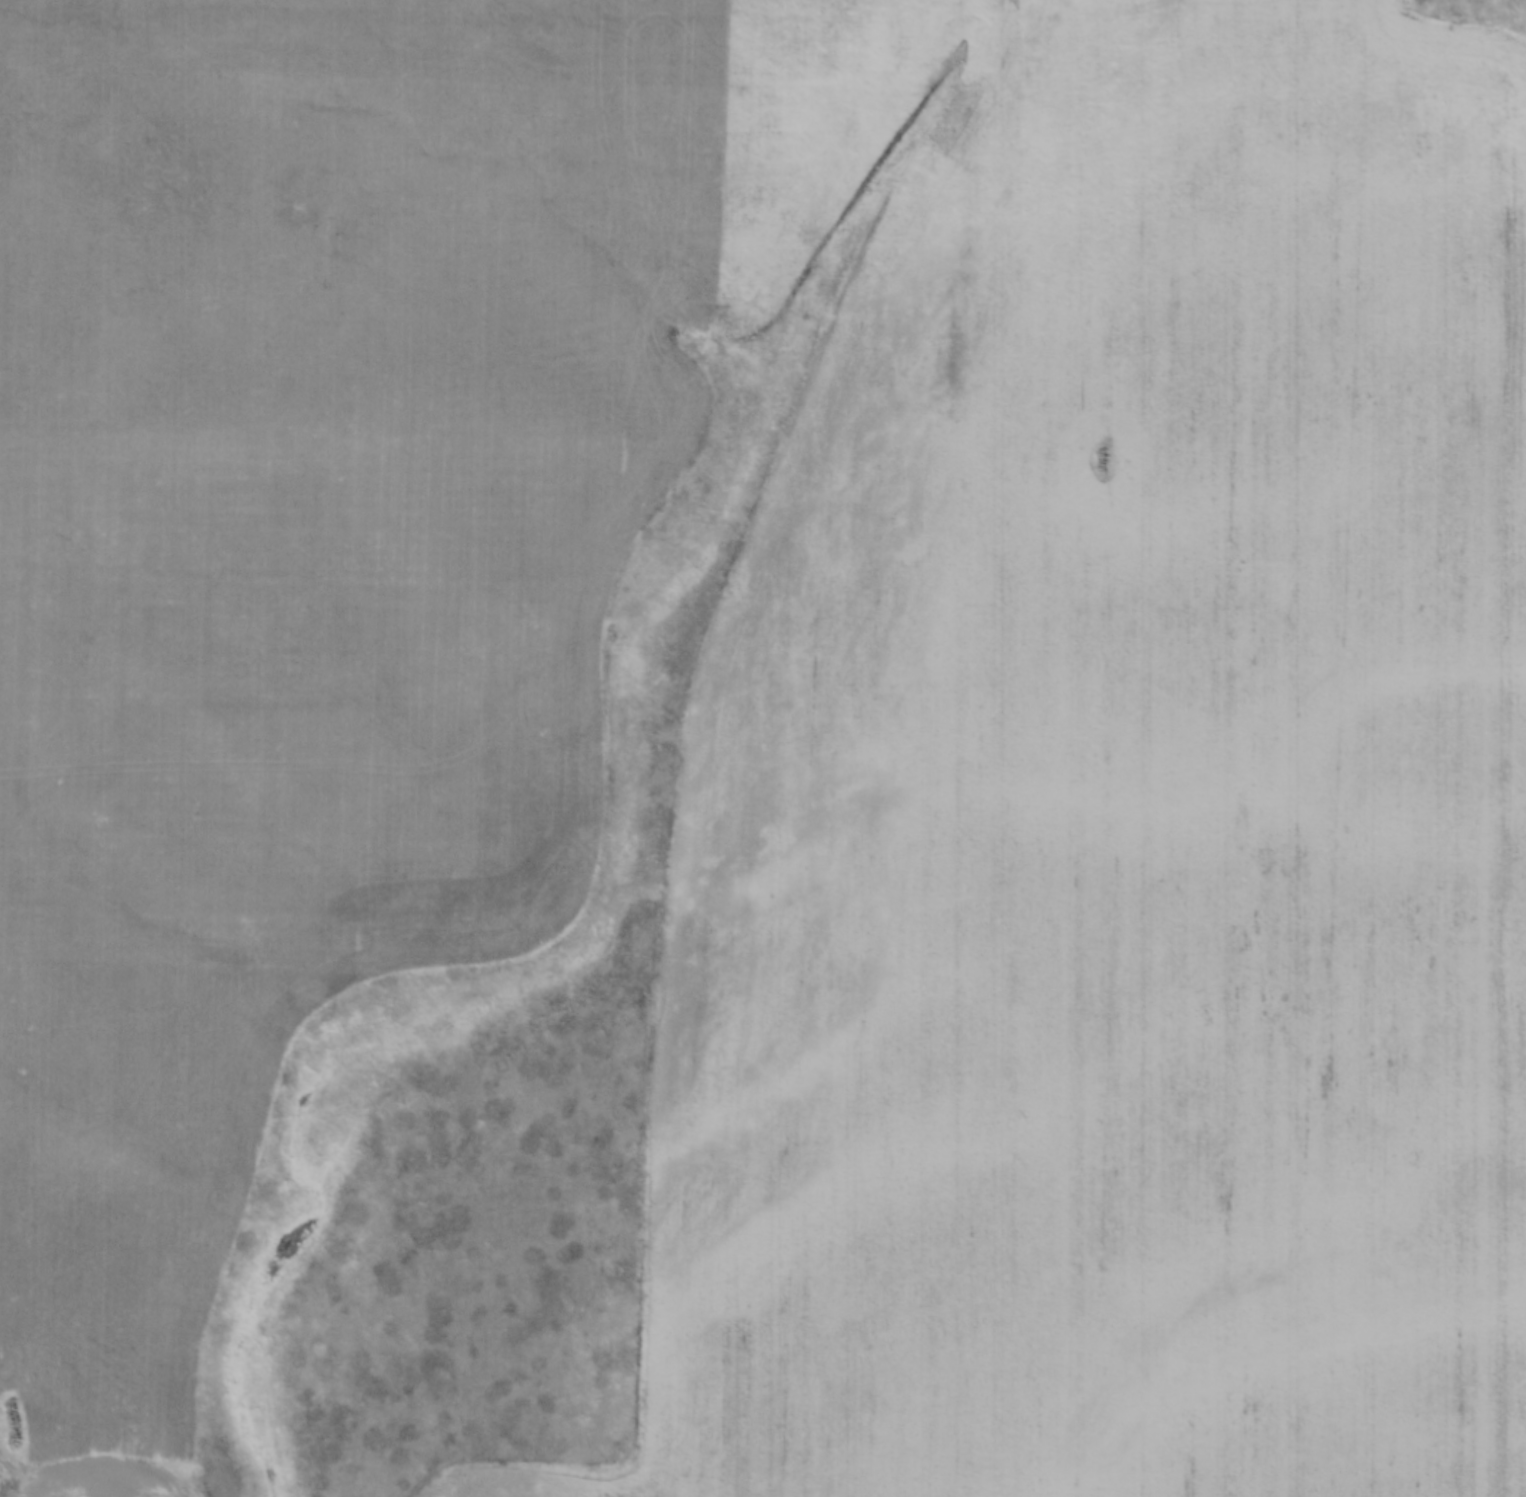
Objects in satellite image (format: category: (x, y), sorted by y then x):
quarry: (89, 1477)

